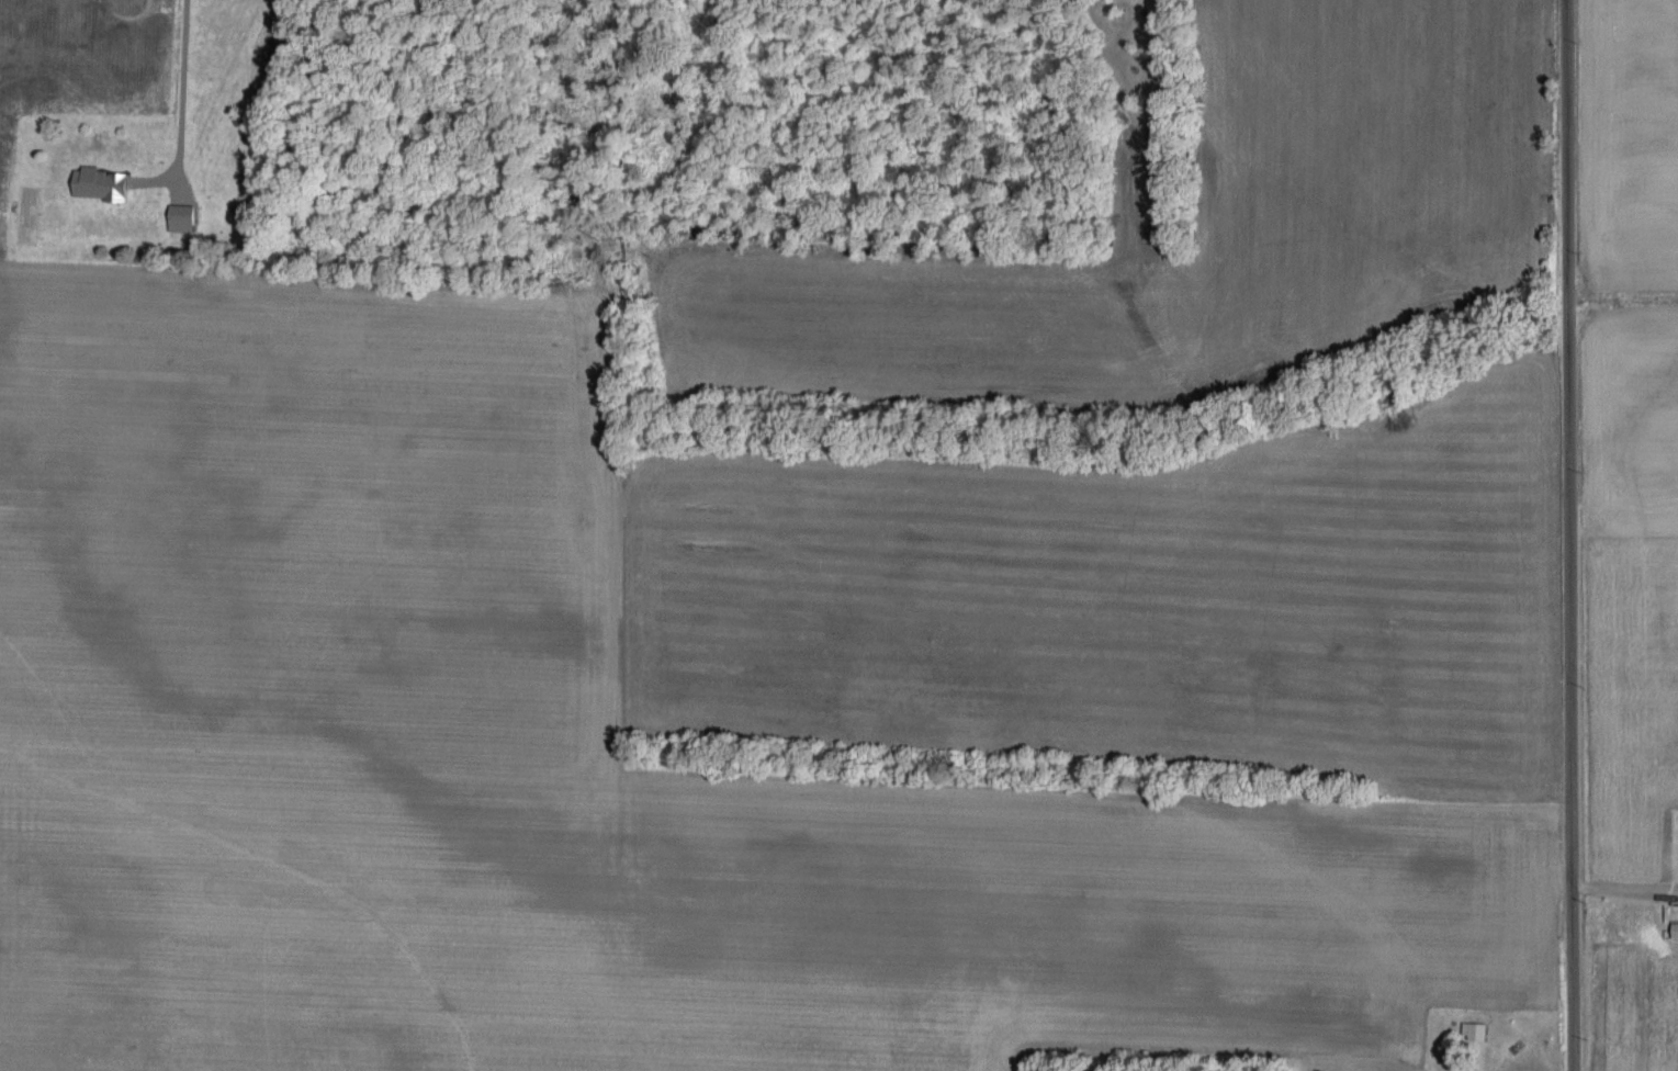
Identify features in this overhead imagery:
road: (182, 97)
building: (103, 183)
building: (184, 216)
road: (1570, 535)
building: (1676, 928)
building: (1478, 1029)

